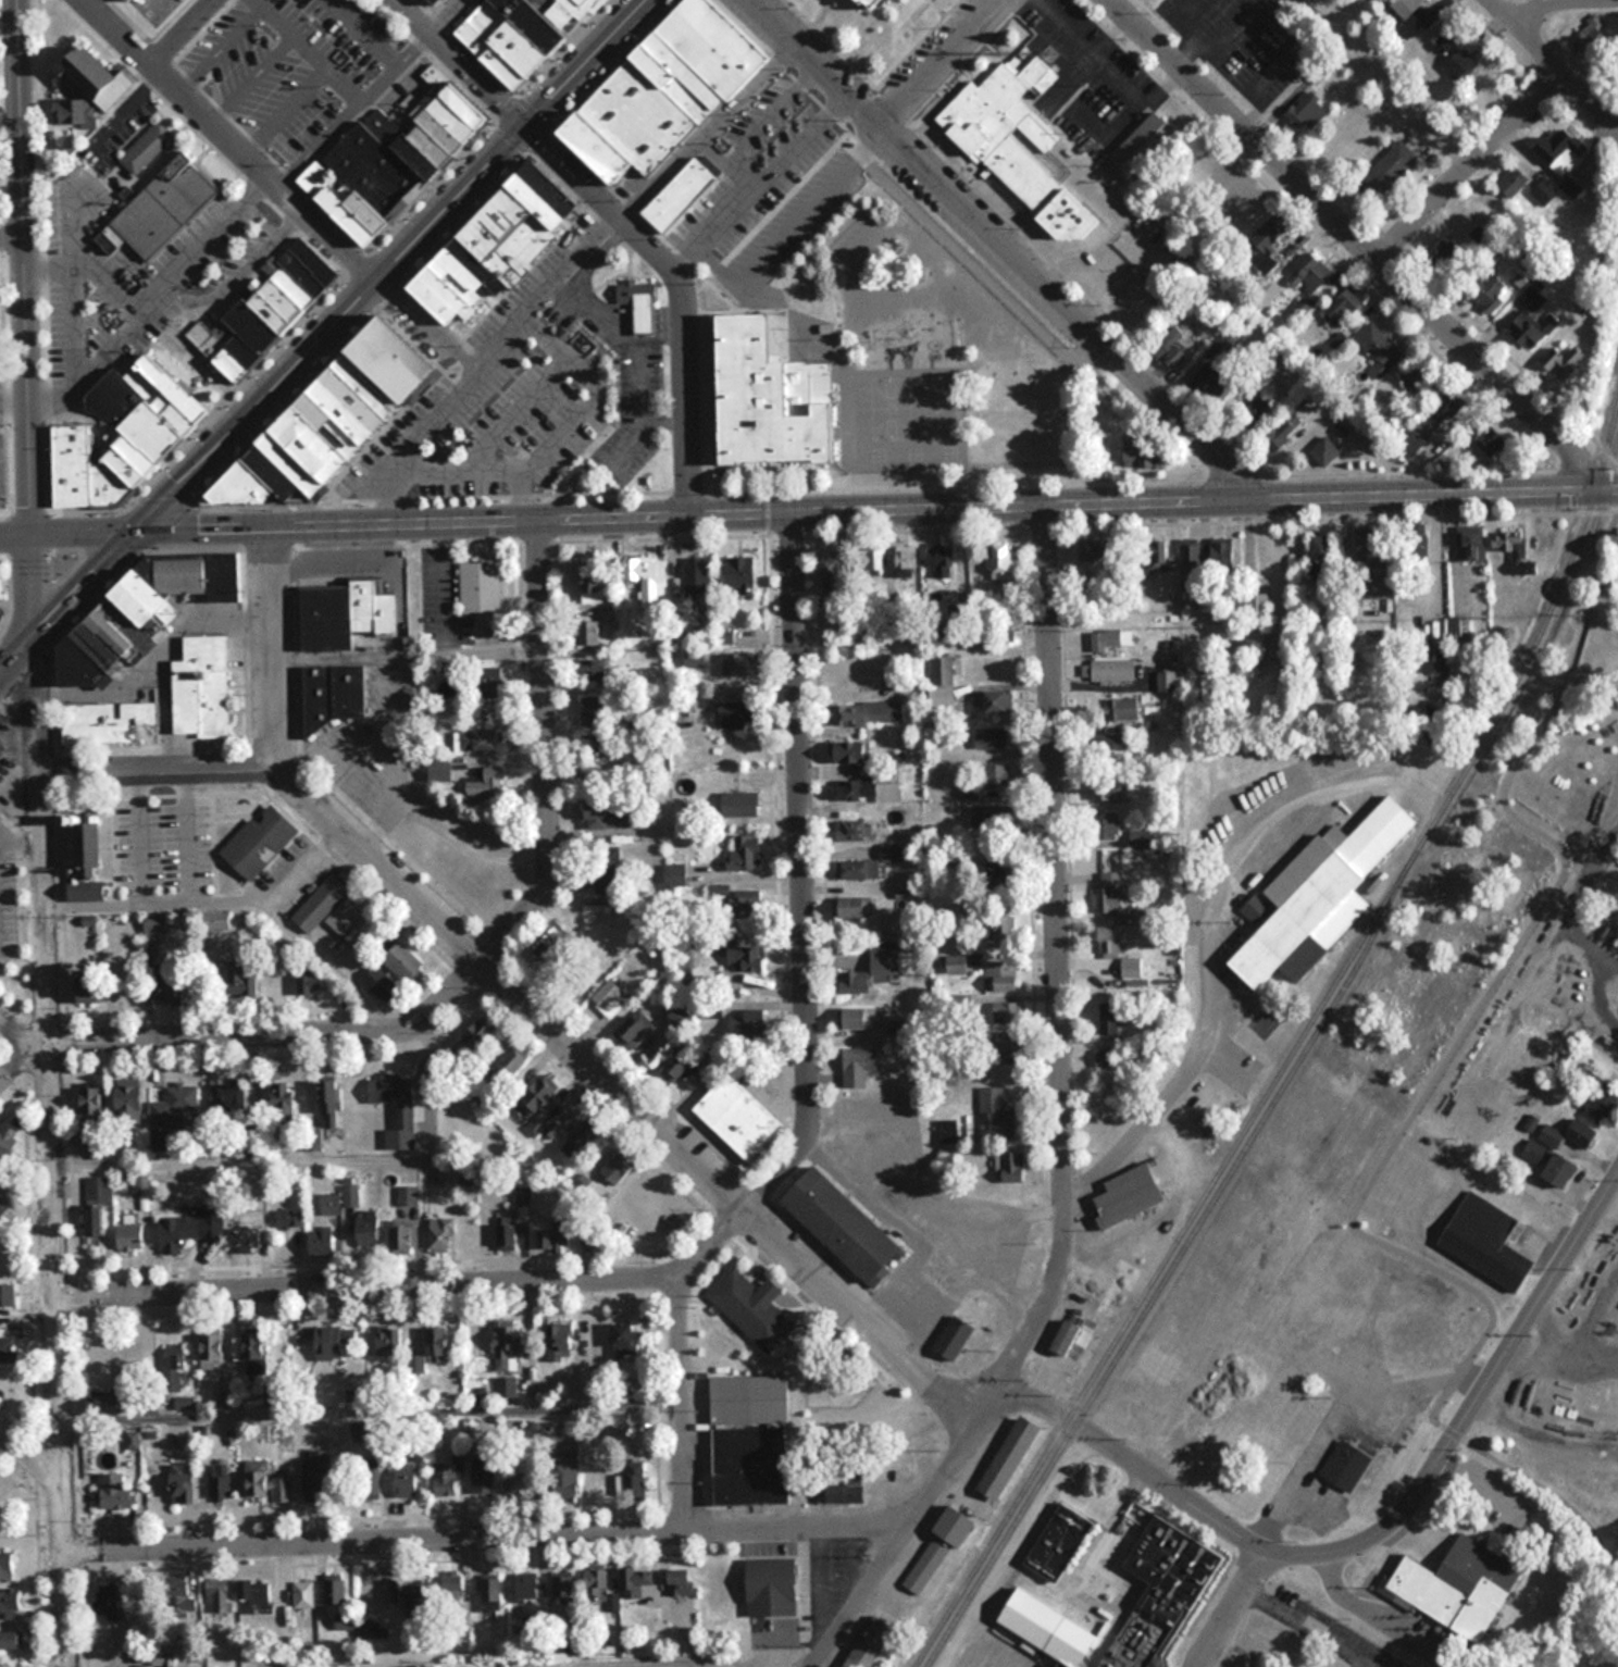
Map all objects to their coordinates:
building: (127, 1)
building: (440, 2)
road: (1564, 2)
building: (872, 4)
building: (1406, 7)
road: (185, 33)
building: (523, 35)
building: (1592, 38)
building: (1458, 55)
road: (458, 61)
road: (937, 62)
road: (1556, 63)
building: (100, 76)
building: (232, 85)
building: (667, 92)
building: (78, 110)
building: (1306, 112)
road: (229, 138)
building: (1017, 142)
building: (1143, 148)
building: (1561, 150)
building: (396, 159)
building: (1390, 164)
road: (1467, 164)
building: (1515, 181)
building: (1556, 192)
building: (682, 195)
building: (158, 199)
building: (1239, 199)
building: (1478, 236)
road: (1352, 239)
building: (1268, 241)
road: (11, 242)
building: (500, 248)
road: (1005, 249)
building: (1449, 253)
road: (966, 256)
road: (388, 263)
road: (567, 264)
road: (22, 265)
building: (1309, 279)
road: (674, 287)
building: (1491, 291)
building: (640, 303)
building: (1345, 304)
building: (267, 309)
road: (424, 324)
building: (1528, 331)
building: (1170, 346)
building: (1380, 348)
building: (1563, 362)
building: (1415, 375)
road: (592, 384)
building: (1210, 385)
building: (775, 397)
road: (515, 411)
building: (337, 418)
building: (1431, 422)
building: (1285, 431)
building: (125, 435)
road: (415, 438)
building: (1495, 439)
building: (1138, 450)
building: (1325, 451)
park: (583, 463)
road: (457, 470)
road: (822, 511)
traffic signals: (136, 530)
road: (13, 532)
building: (1509, 537)
building: (1477, 544)
building: (1327, 547)
building: (1098, 549)
building: (1158, 549)
building: (1370, 550)
building: (1225, 556)
building: (1193, 557)
building: (1271, 557)
building: (906, 561)
building: (941, 561)
building: (1003, 561)
road: (1426, 561)
building: (849, 563)
building: (743, 571)
building: (699, 575)
building: (649, 577)
building: (593, 584)
building: (481, 587)
building: (0, 598)
road: (67, 600)
building: (1257, 606)
building: (145, 612)
building: (346, 614)
building: (1461, 629)
building: (589, 632)
building: (1111, 639)
railway: (1529, 651)
building: (1435, 655)
building: (743, 664)
building: (1113, 669)
building: (597, 670)
building: (942, 681)
building: (1167, 682)
building: (489, 684)
building: (203, 687)
building: (337, 694)
building: (998, 701)
building: (1121, 709)
building: (739, 712)
building: (870, 712)
building: (594, 716)
building: (109, 721)
building: (991, 737)
building: (480, 739)
building: (1121, 747)
building: (595, 748)
building: (851, 751)
road: (547, 752)
building: (441, 770)
road: (158, 775)
building: (997, 776)
building: (486, 783)
building: (868, 788)
building: (1111, 791)
building: (742, 804)
building: (609, 814)
building: (993, 816)
building: (1108, 829)
building: (851, 830)
building: (1141, 837)
building: (261, 841)
building: (893, 853)
building: (746, 854)
building: (87, 860)
building: (858, 869)
road: (802, 872)
building: (681, 876)
building: (999, 880)
building: (608, 883)
building: (1110, 892)
building: (1322, 897)
building: (334, 907)
building: (855, 907)
building: (219, 922)
building: (157, 923)
road: (1207, 924)
building: (1109, 943)
building: (745, 957)
building: (406, 963)
building: (348, 965)
building: (958, 965)
building: (875, 969)
road: (1058, 975)
building: (1001, 976)
building: (241, 983)
building: (173, 984)
building: (90, 985)
building: (382, 985)
road: (1486, 985)
building: (311, 987)
building: (610, 998)
building: (1007, 1012)
road: (538, 1015)
building: (860, 1018)
building: (1112, 1018)
building: (634, 1029)
road: (22, 1036)
building: (478, 1037)
road: (278, 1038)
building: (1004, 1043)
building: (1104, 1058)
road: (22, 1060)
building: (511, 1060)
building: (680, 1063)
building: (860, 1066)
road: (51, 1098)
building: (95, 1100)
building: (278, 1102)
building: (132, 1103)
building: (231, 1103)
building: (539, 1103)
building: (1602, 1103)
building: (332, 1104)
building: (397, 1108)
building: (173, 1112)
building: (995, 1114)
building: (739, 1116)
building: (581, 1140)
building: (8, 1141)
building: (614, 1164)
building: (1554, 1164)
building: (1006, 1167)
building: (351, 1195)
building: (409, 1195)
building: (1130, 1195)
building: (329, 1204)
building: (2, 1205)
road: (1162, 1205)
building: (97, 1206)
building: (286, 1218)
building: (846, 1226)
building: (188, 1228)
building: (369, 1229)
building: (246, 1233)
building: (130, 1234)
building: (444, 1234)
building: (555, 1234)
building: (511, 1237)
building: (401, 1240)
building: (1488, 1242)
building: (323, 1243)
railway: (1154, 1274)
railway: (1166, 1278)
road: (415, 1286)
building: (8, 1295)
building: (754, 1307)
building: (1067, 1336)
building: (956, 1338)
building: (624, 1339)
building: (388, 1341)
building: (561, 1342)
building: (329, 1343)
building: (437, 1344)
building: (507, 1346)
building: (9, 1351)
building: (213, 1351)
building: (256, 1351)
road: (1566, 1355)
building: (415, 1364)
building: (172, 1366)
building: (507, 1386)
building: (277, 1397)
road: (682, 1405)
road: (1467, 1411)
building: (614, 1423)
building: (752, 1440)
building: (1012, 1457)
road: (33, 1464)
building: (1347, 1465)
road: (1138, 1466)
building: (567, 1471)
building: (484, 1475)
building: (315, 1478)
building: (407, 1479)
building: (445, 1481)
building: (521, 1481)
building: (220, 1482)
building: (266, 1483)
building: (184, 1484)
road: (1545, 1490)
building: (116, 1493)
building: (846, 1493)
road: (33, 1530)
road: (495, 1537)
building: (1059, 1541)
building: (945, 1544)
road: (901, 1546)
building: (9, 1567)
building: (636, 1580)
building: (594, 1583)
building: (681, 1587)
building: (1461, 1587)
building: (774, 1588)
building: (563, 1589)
building: (334, 1590)
building: (527, 1590)
building: (455, 1591)
building: (493, 1592)
building: (1162, 1593)
building: (303, 1594)
building: (257, 1595)
building: (411, 1597)
building: (109, 1603)
building: (10, 1605)
road: (1230, 1609)
building: (1034, 1618)
building: (11, 1641)
building: (162, 1659)

